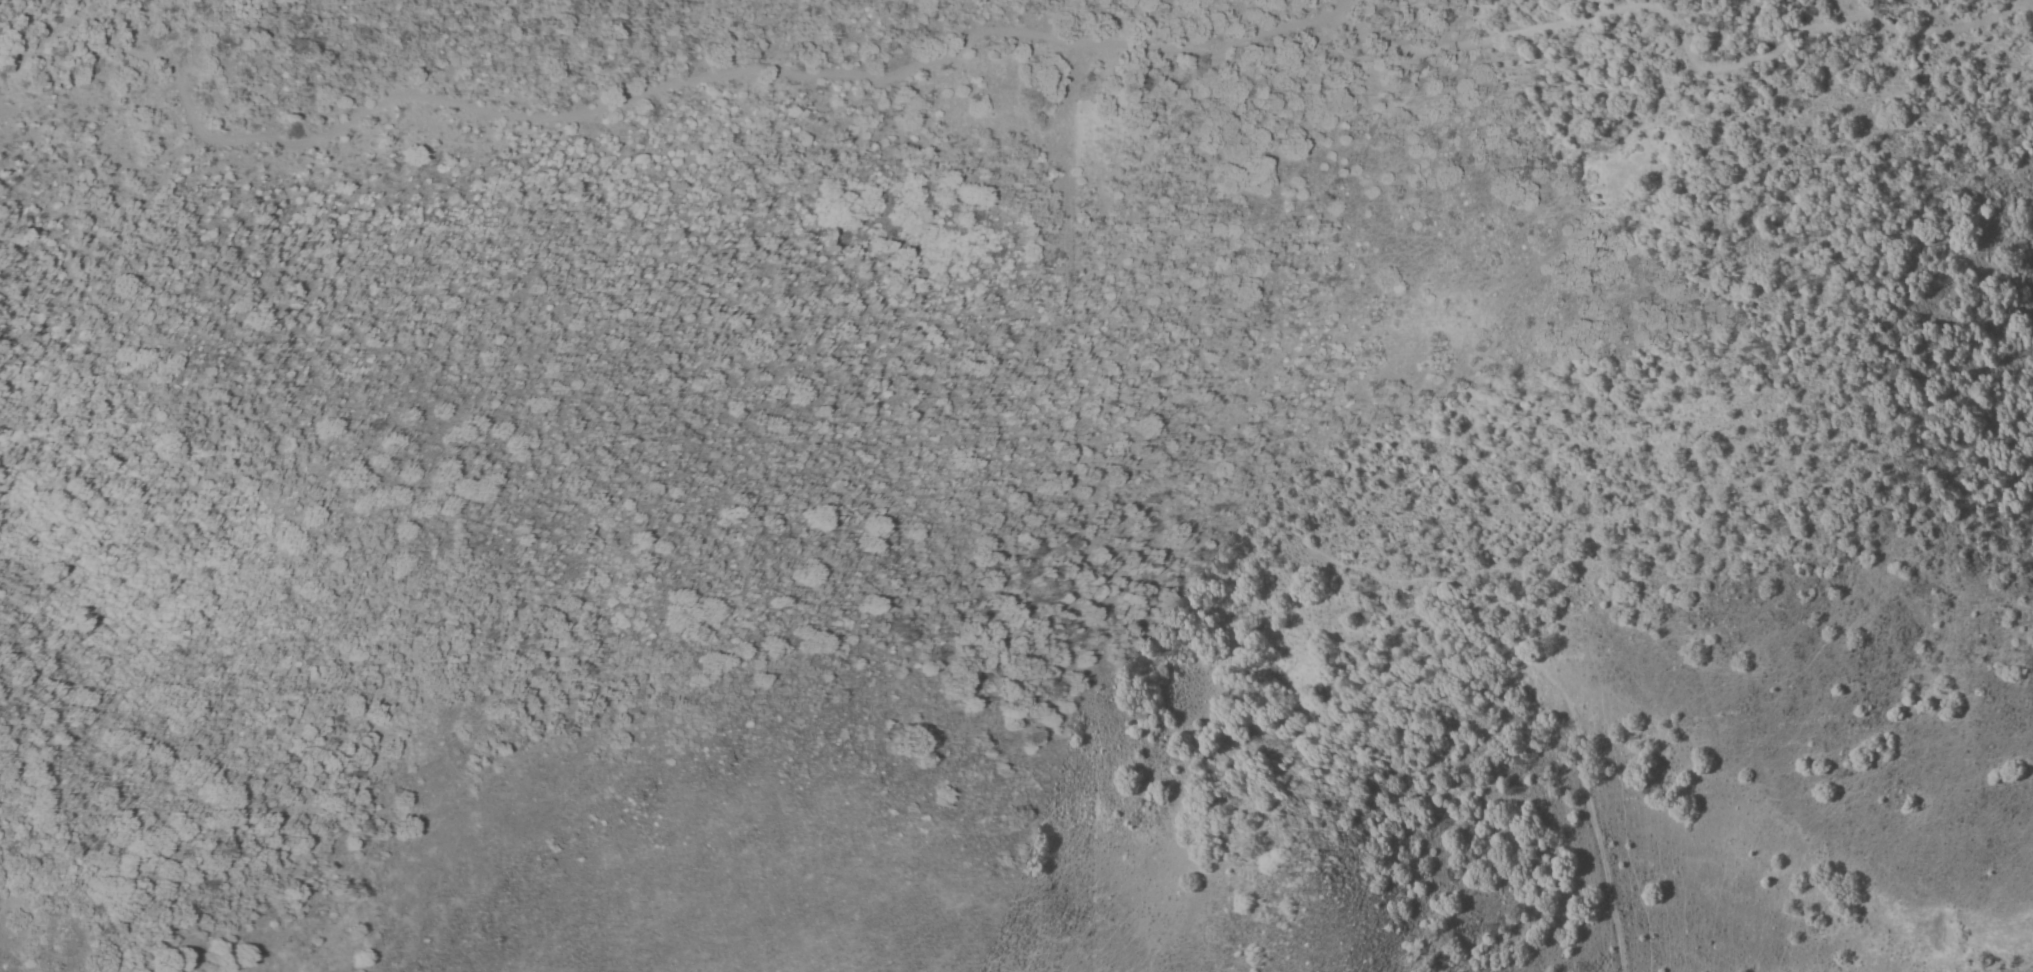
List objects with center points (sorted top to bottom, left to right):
road: (1337, 6)
road: (1675, 40)
road: (655, 88)

